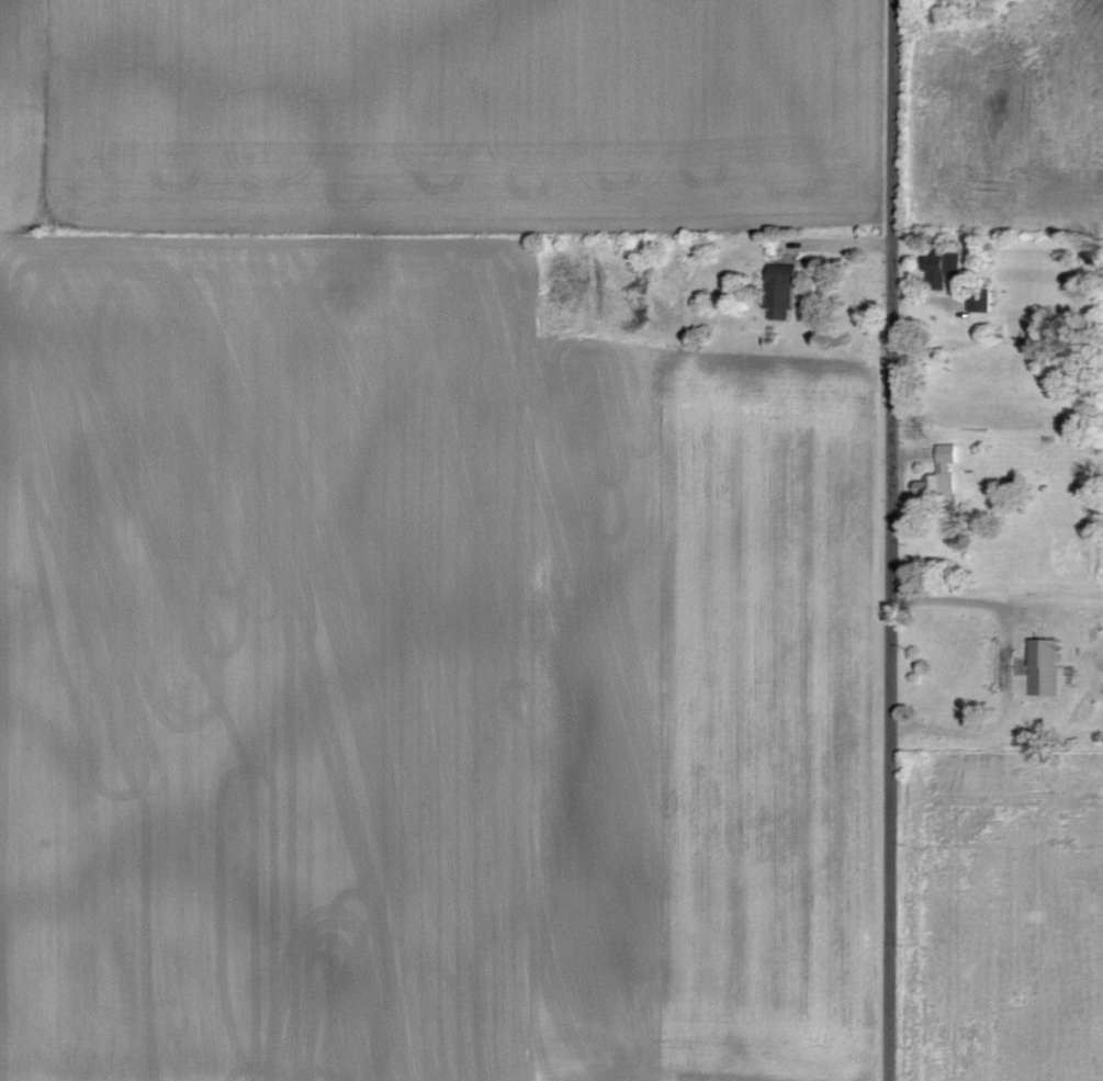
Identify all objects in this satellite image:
road: (893, 115)
building: (942, 270)
building: (786, 292)
building: (944, 475)
road: (961, 600)
road: (891, 655)
building: (1048, 666)

